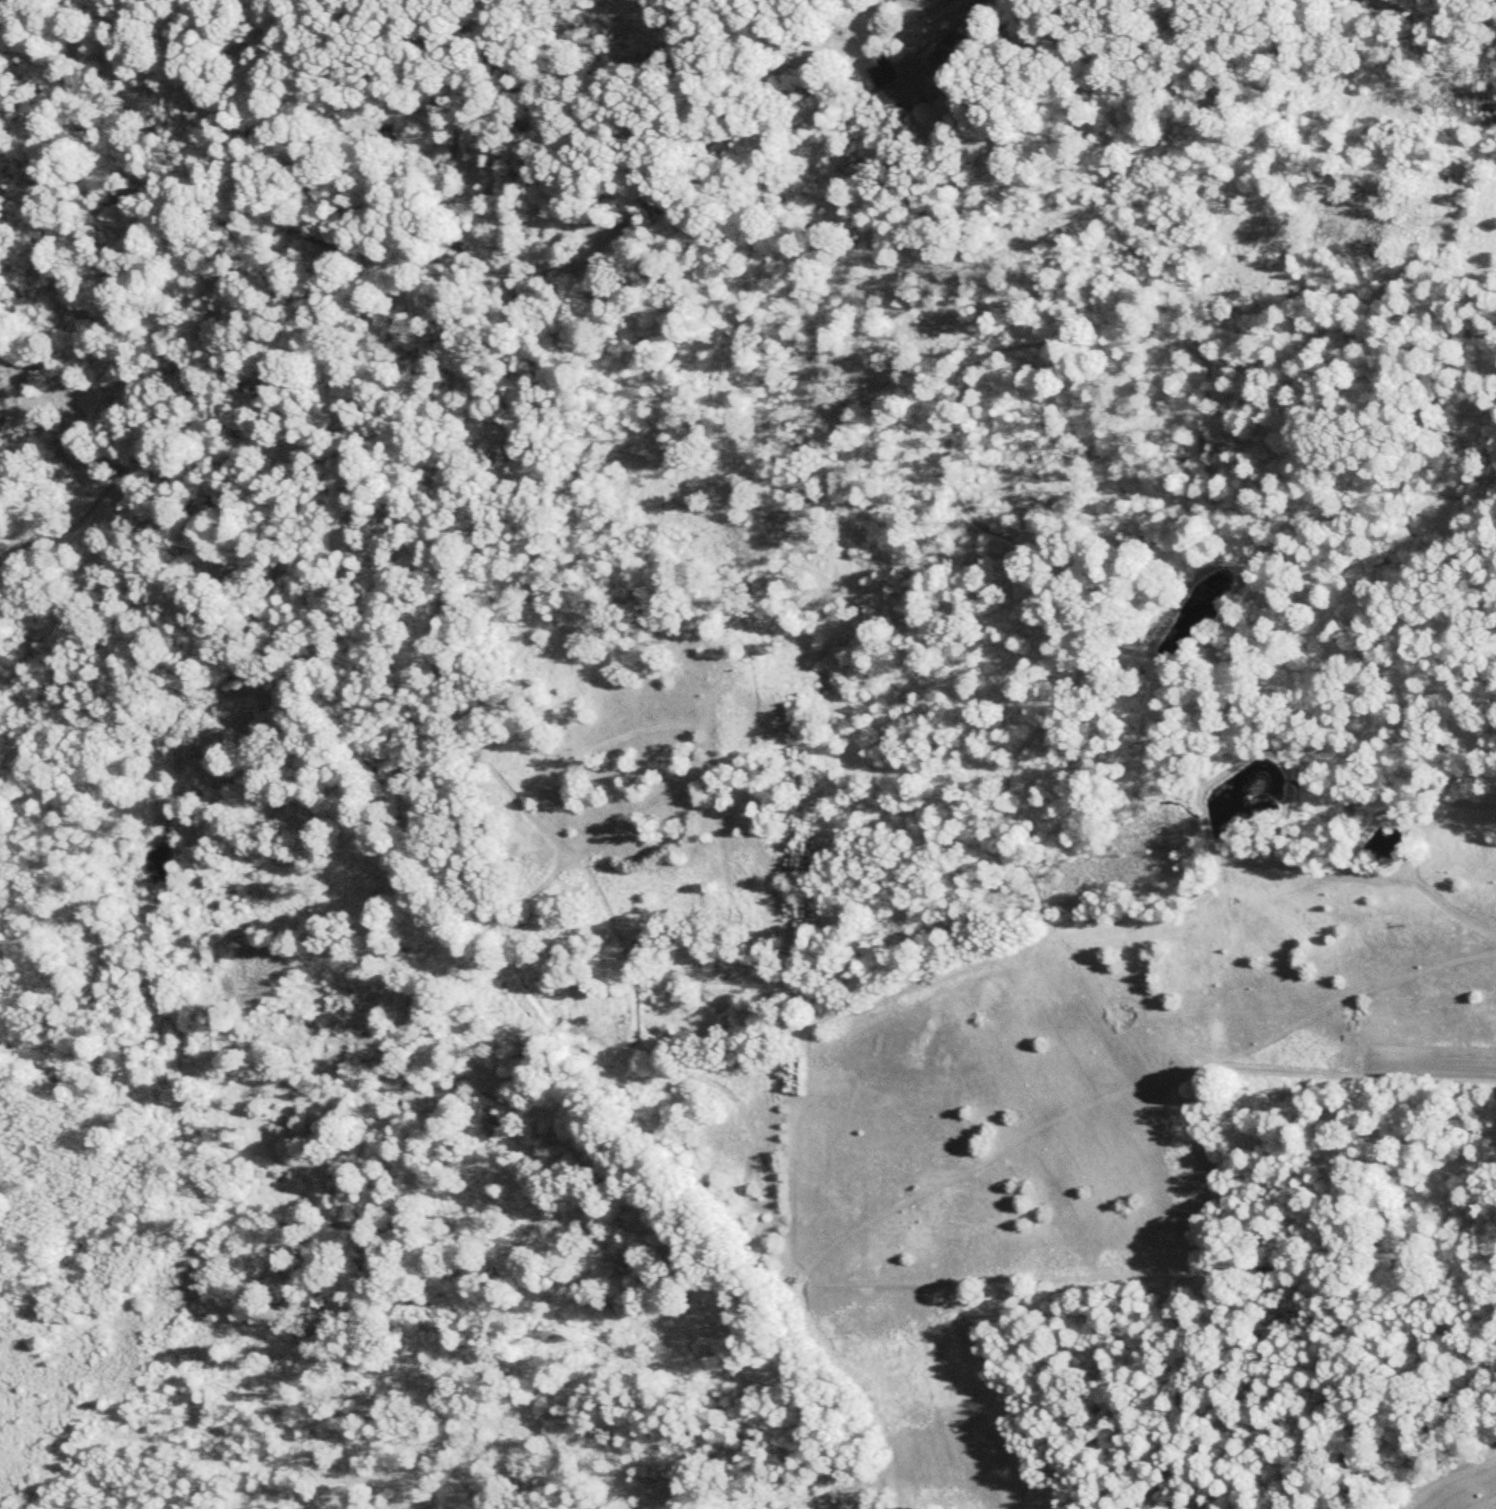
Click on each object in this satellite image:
road: (747, 67)
building: (883, 70)
road: (282, 226)
road: (233, 605)
road: (444, 674)
road: (522, 897)
road: (1064, 1112)

